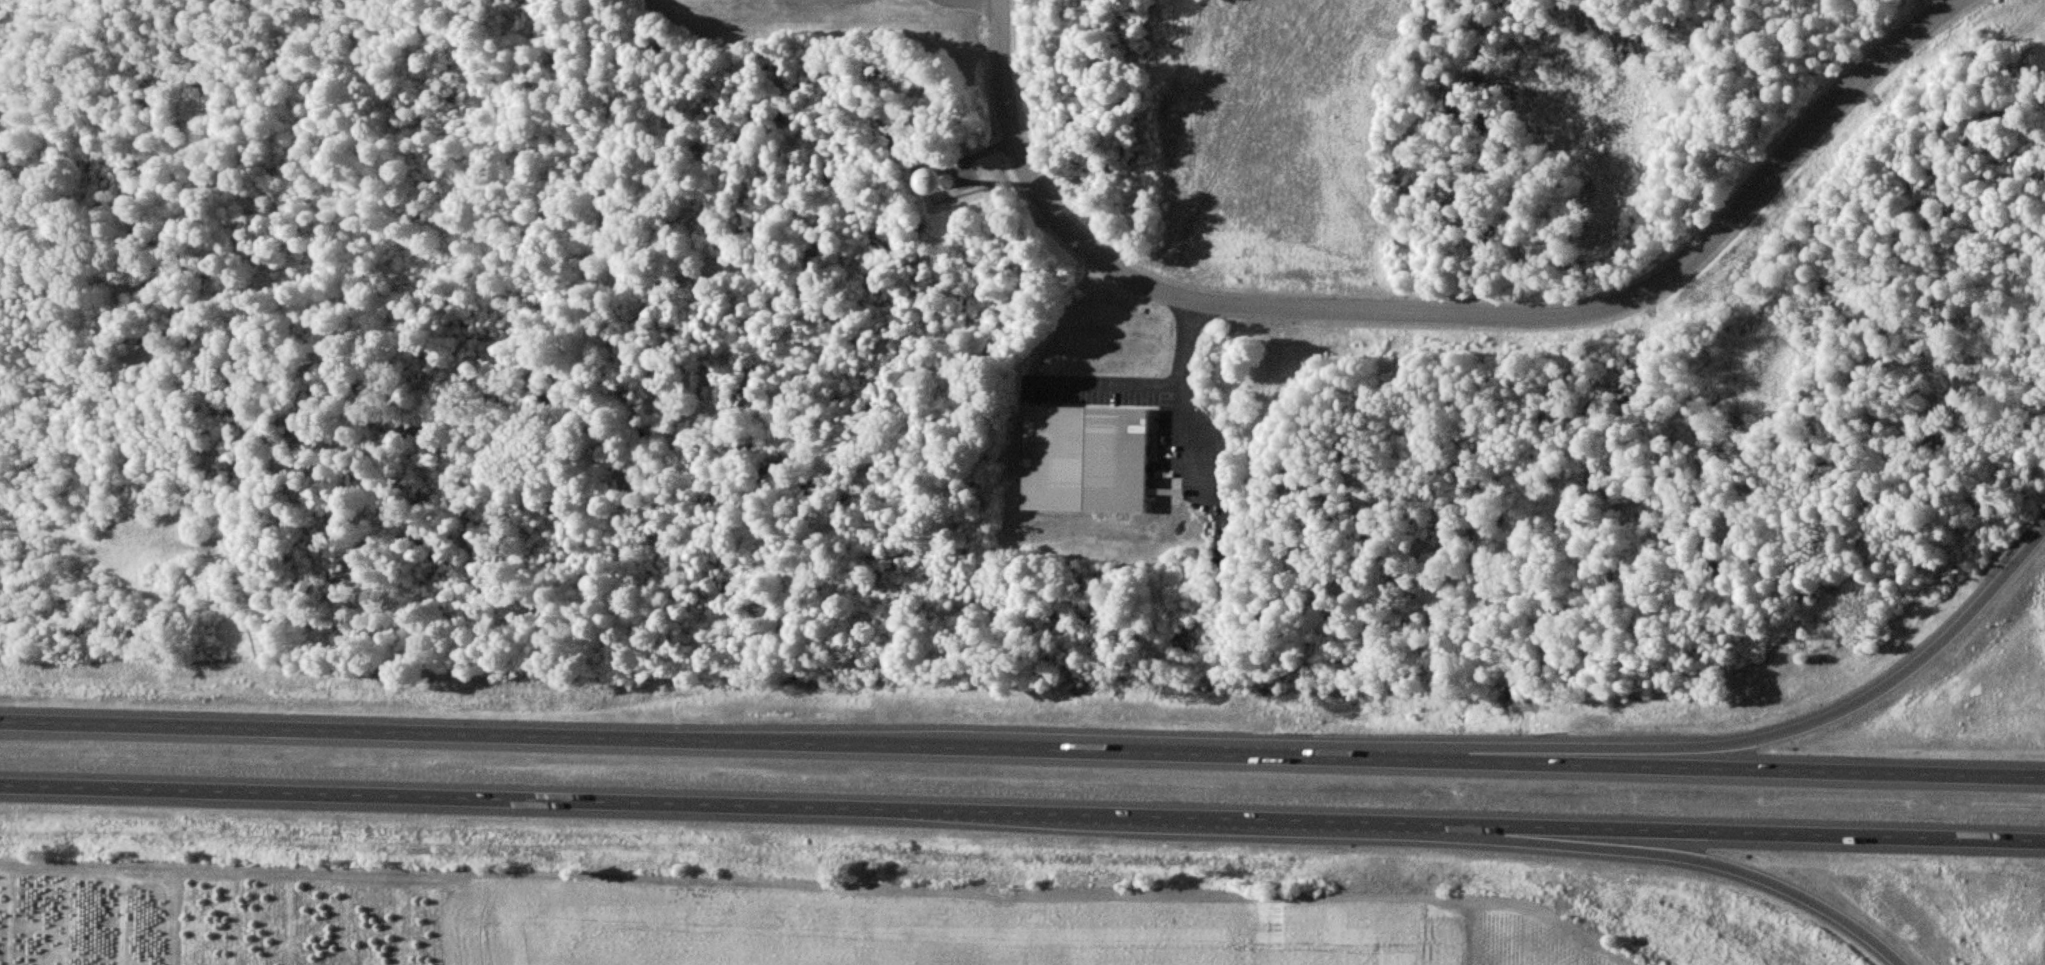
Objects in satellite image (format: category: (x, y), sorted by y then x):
building: (939, 182)
water tower: (944, 187)
road: (1439, 314)
road: (1148, 385)
road: (1187, 421)
building: (1085, 459)
road: (1725, 743)
road: (1022, 747)
road: (1022, 813)
road: (1661, 853)

